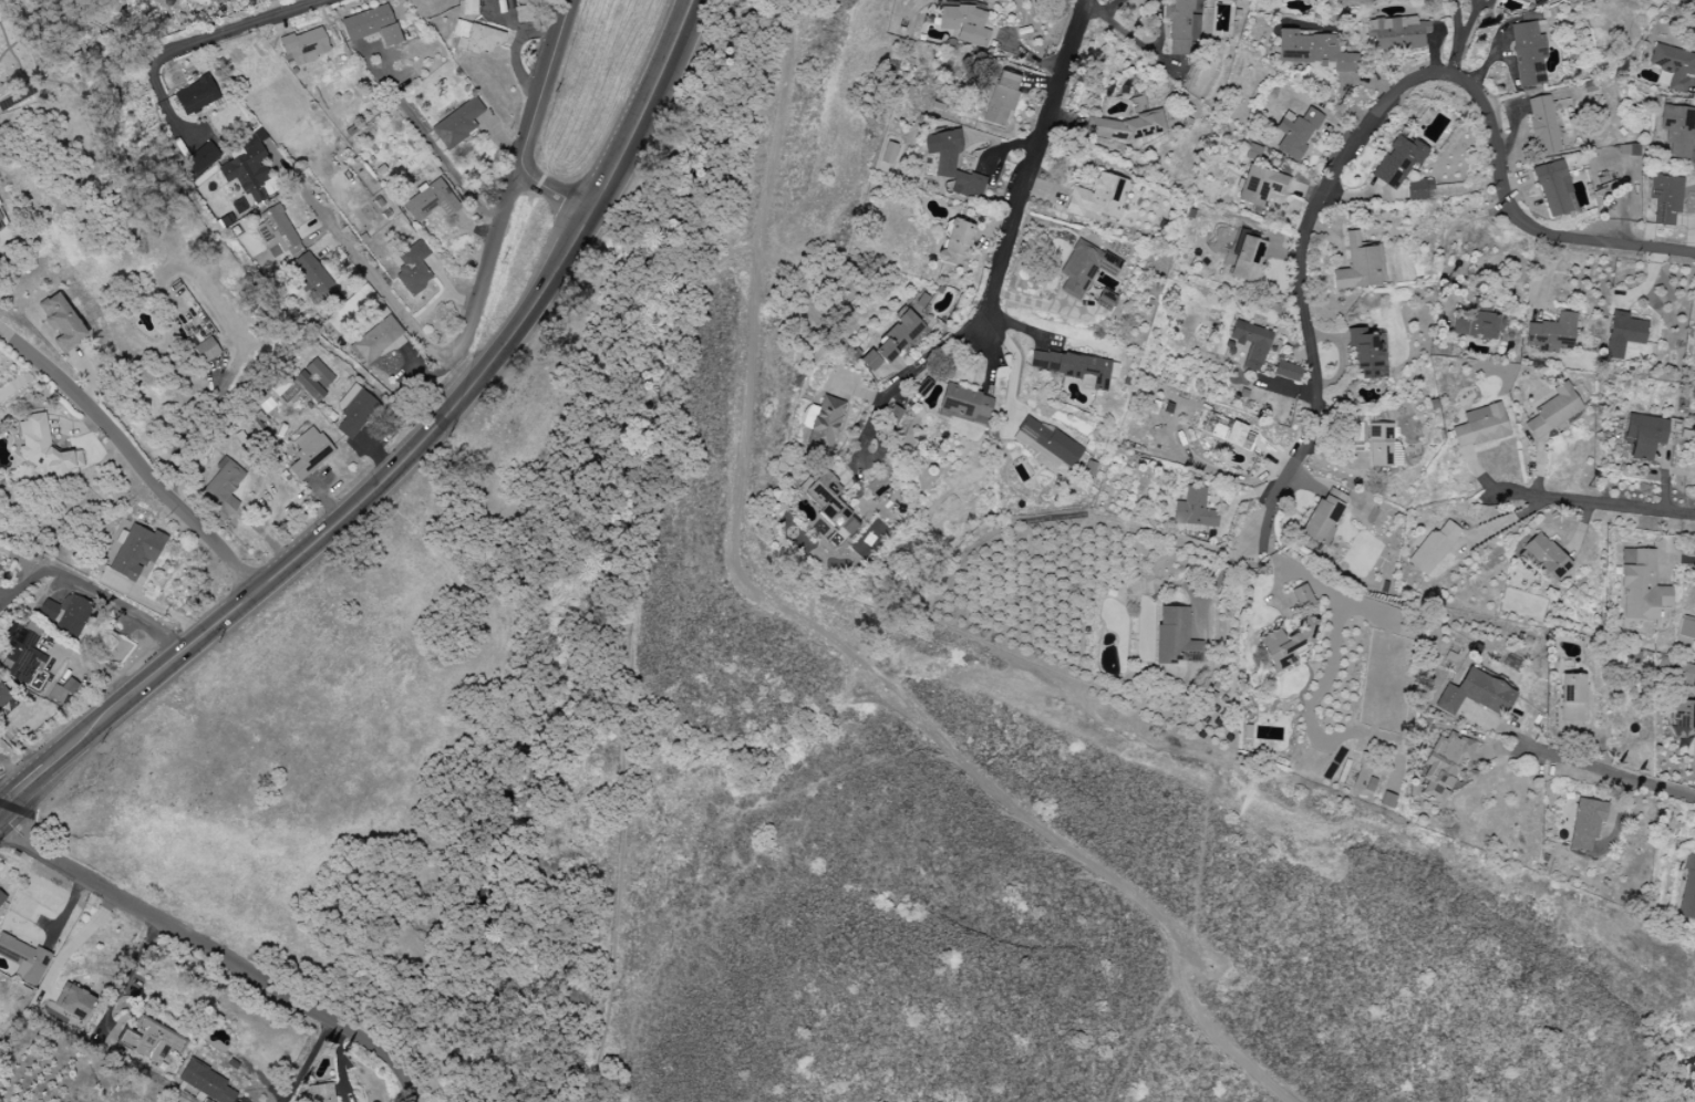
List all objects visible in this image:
building: (1525, 0)
building: (469, 7)
building: (964, 24)
building: (372, 25)
building: (1181, 25)
building: (1396, 33)
road: (214, 34)
building: (476, 38)
road: (1457, 38)
building: (303, 46)
building: (1312, 51)
building: (1528, 53)
building: (1673, 65)
building: (196, 95)
building: (1001, 98)
road: (1367, 118)
building: (1128, 123)
building: (457, 124)
building: (1542, 125)
building: (1676, 131)
building: (1295, 132)
road: (428, 139)
road: (1006, 145)
building: (1629, 149)
building: (201, 157)
building: (1397, 162)
building: (952, 164)
building: (247, 166)
building: (1260, 186)
road: (511, 188)
building: (1417, 188)
building: (1554, 188)
road: (552, 195)
building: (1097, 197)
building: (1665, 198)
building: (431, 201)
building: (1, 223)
building: (278, 229)
building: (955, 243)
road: (1003, 251)
building: (289, 253)
building: (1246, 259)
road: (364, 266)
building: (1358, 266)
building: (413, 268)
building: (1084, 268)
building: (311, 278)
building: (61, 323)
building: (1476, 325)
road: (517, 328)
building: (1550, 333)
building: (1622, 334)
building: (378, 342)
building: (1250, 344)
building: (892, 345)
building: (206, 350)
building: (1364, 353)
road: (1015, 366)
building: (1075, 368)
building: (1286, 371)
building: (319, 373)
building: (309, 386)
building: (964, 404)
building: (354, 410)
building: (1553, 412)
building: (893, 413)
building: (825, 424)
building: (1479, 426)
building: (1228, 432)
building: (1643, 435)
building: (1046, 443)
building: (43, 447)
building: (1382, 447)
building: (309, 454)
road: (132, 457)
building: (224, 488)
building: (829, 502)
road: (1590, 502)
building: (1193, 509)
building: (1323, 517)
building: (1433, 548)
building: (136, 552)
building: (1544, 557)
road: (1681, 559)
road: (1220, 573)
building: (1641, 586)
road: (92, 593)
building: (1302, 596)
building: (65, 613)
building: (1686, 627)
road: (817, 633)
building: (1172, 635)
building: (1285, 645)
building: (25, 655)
building: (1687, 675)
road: (147, 677)
building: (62, 692)
building: (1475, 694)
building: (2, 698)
building: (1572, 698)
building: (1684, 715)
road: (1558, 759)
building: (1443, 765)
road: (14, 768)
road: (21, 787)
building: (1387, 800)
building: (1585, 824)
building: (1687, 892)
building: (2, 898)
road: (74, 944)
road: (218, 957)
building: (24, 959)
road: (126, 977)
building: (76, 1002)
building: (148, 1040)
road: (306, 1061)
building: (206, 1082)
building: (321, 1093)

